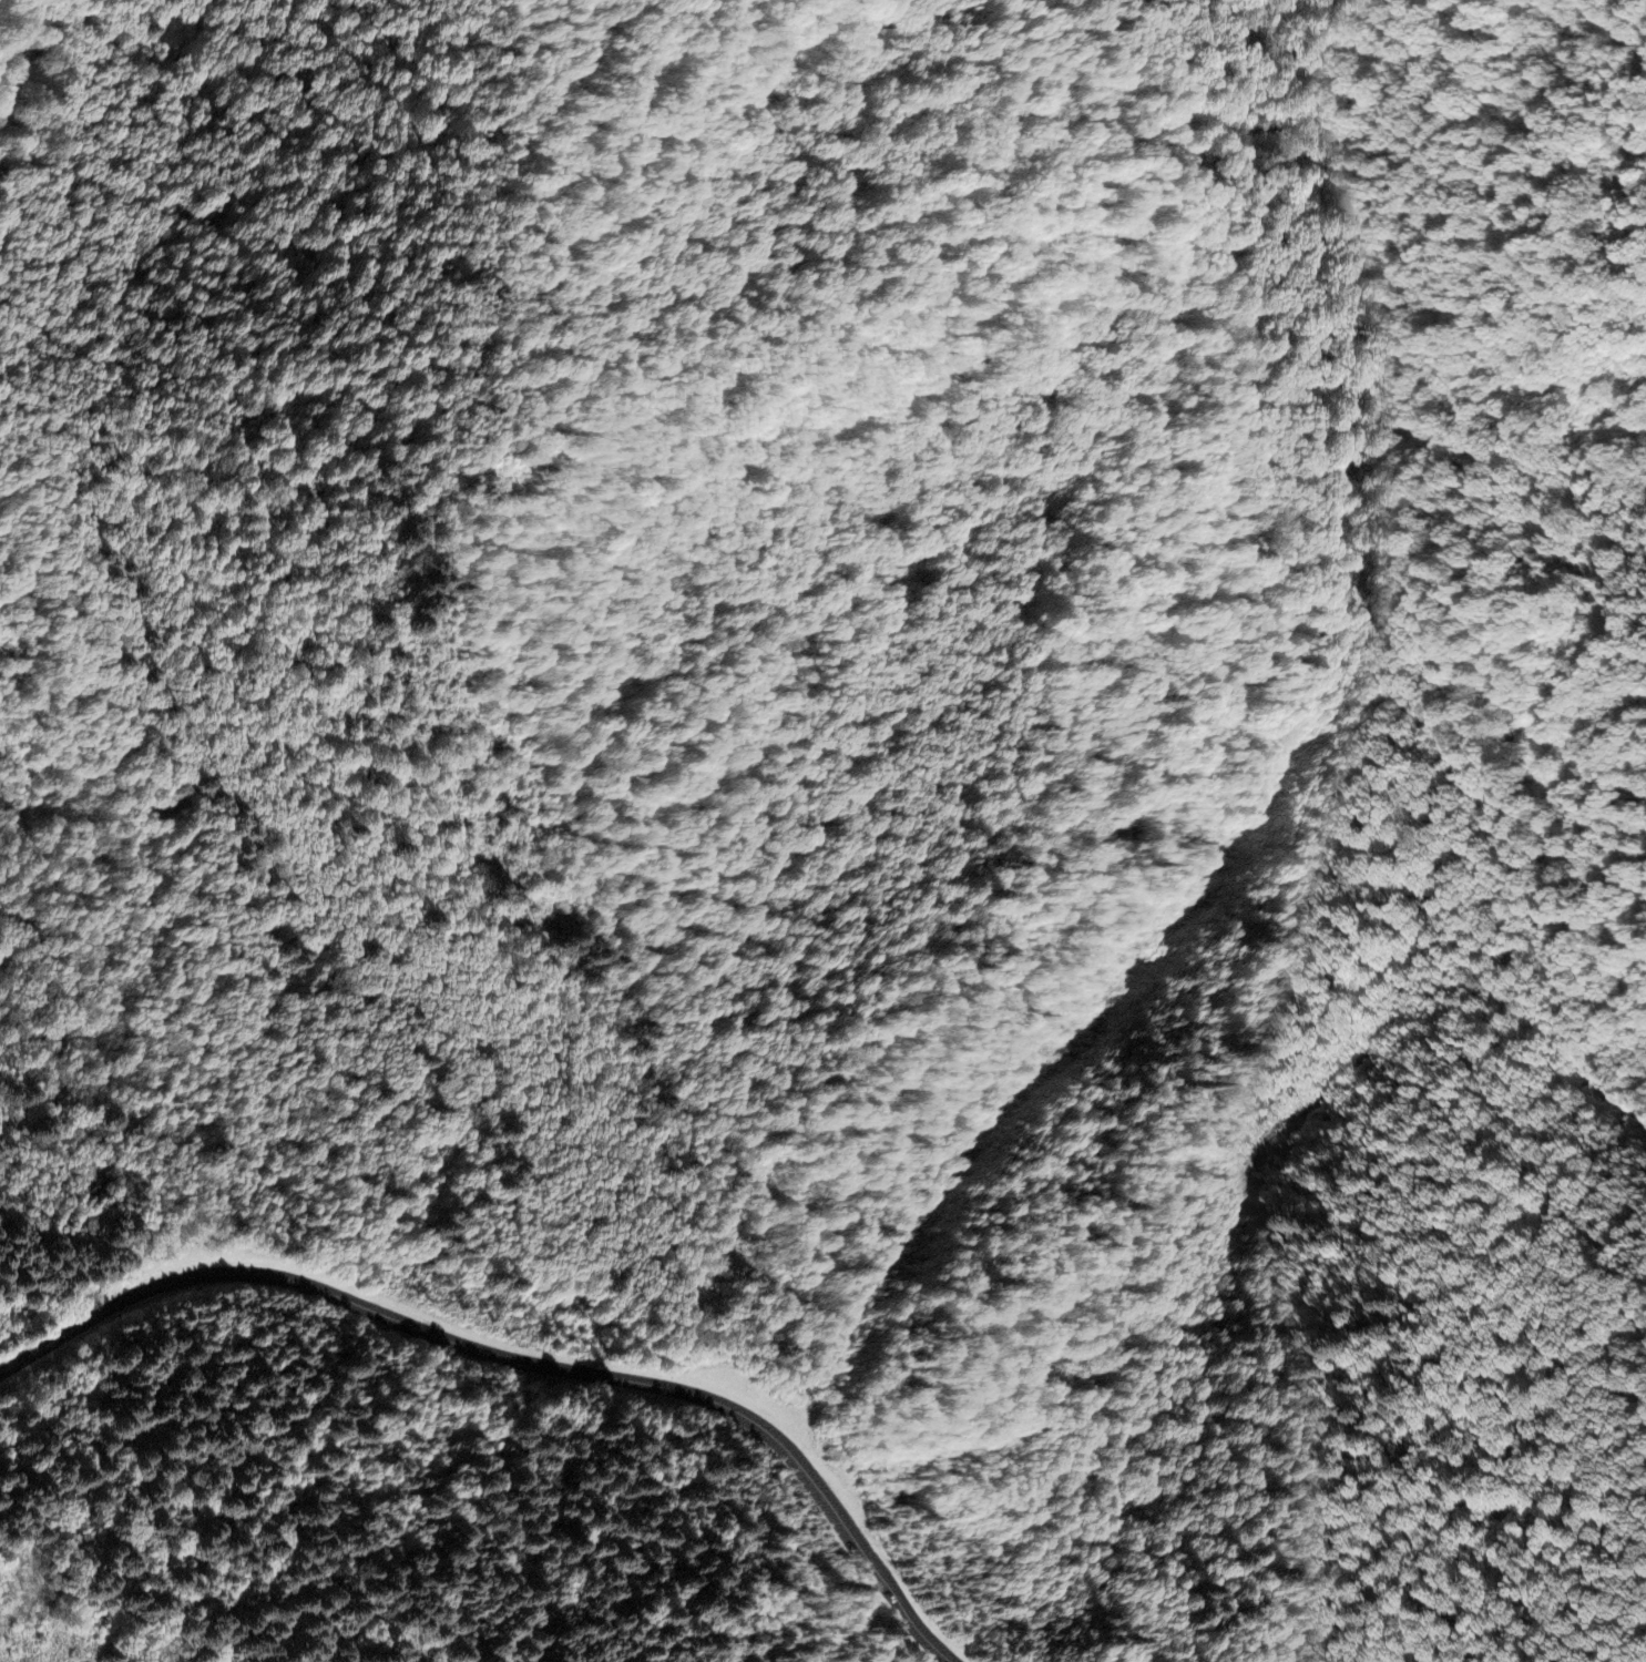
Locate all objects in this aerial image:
road: (522, 1360)

